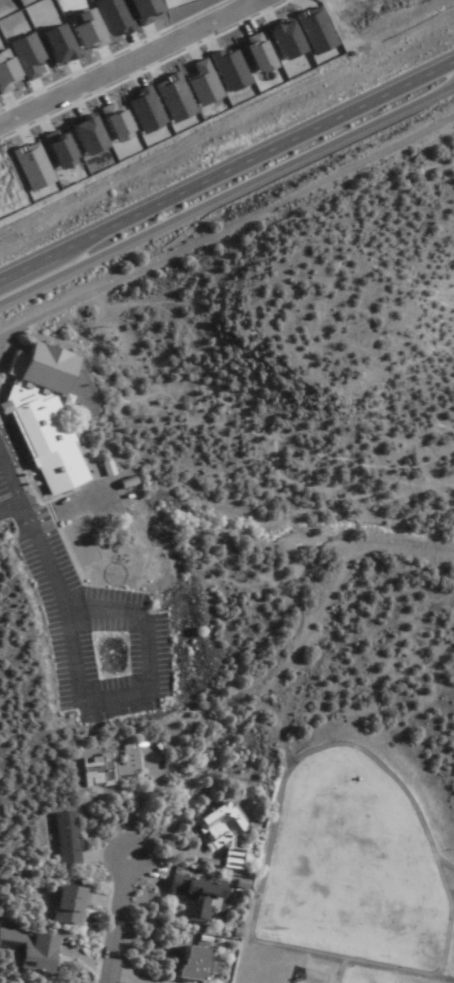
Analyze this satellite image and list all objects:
road: (125, 63)
road: (255, 148)
road: (226, 187)
road: (227, 213)
road: (28, 258)
building: (43, 420)
road: (11, 506)
road: (37, 533)
parking lot: (85, 615)
road: (279, 673)
road: (140, 690)
building: (105, 768)
building: (219, 832)
building: (66, 839)
building: (191, 896)
building: (63, 904)
road: (118, 921)
building: (29, 949)
building: (190, 963)

